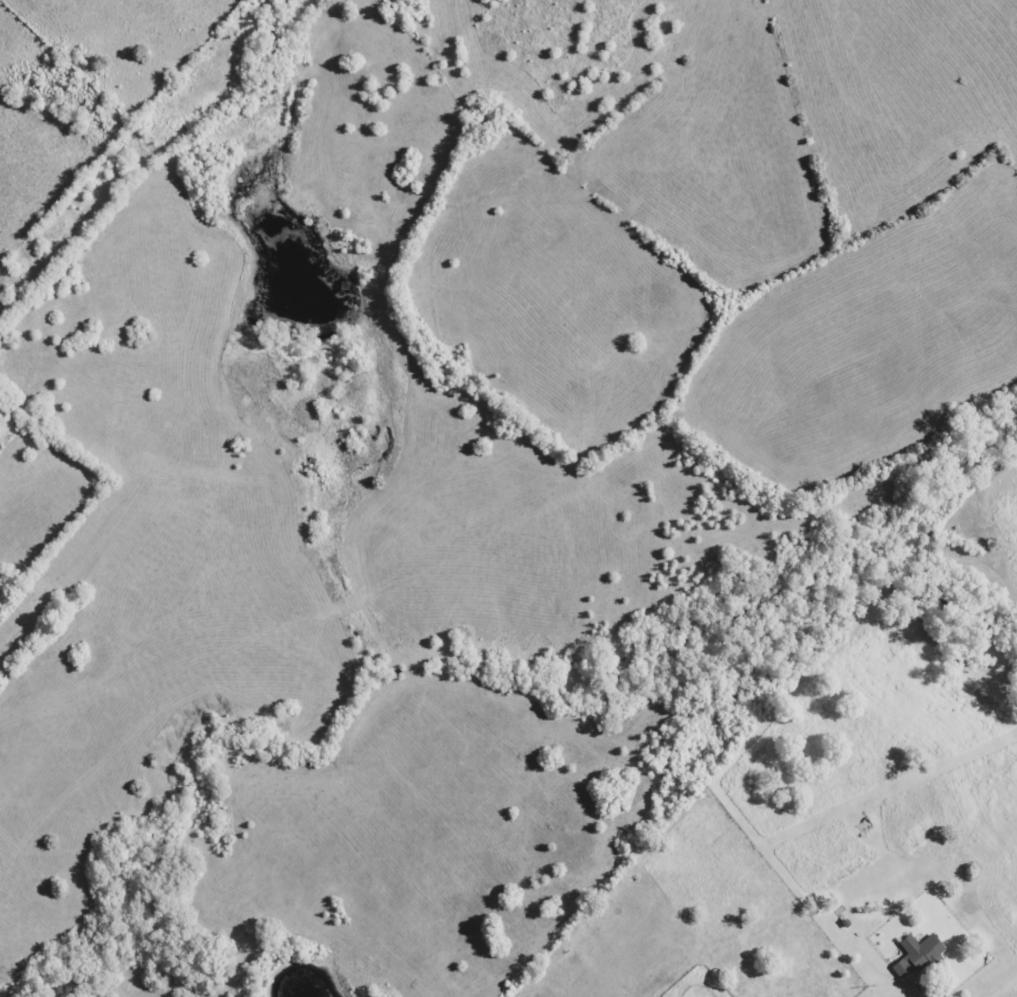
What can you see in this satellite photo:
building: (918, 955)
road: (943, 976)

